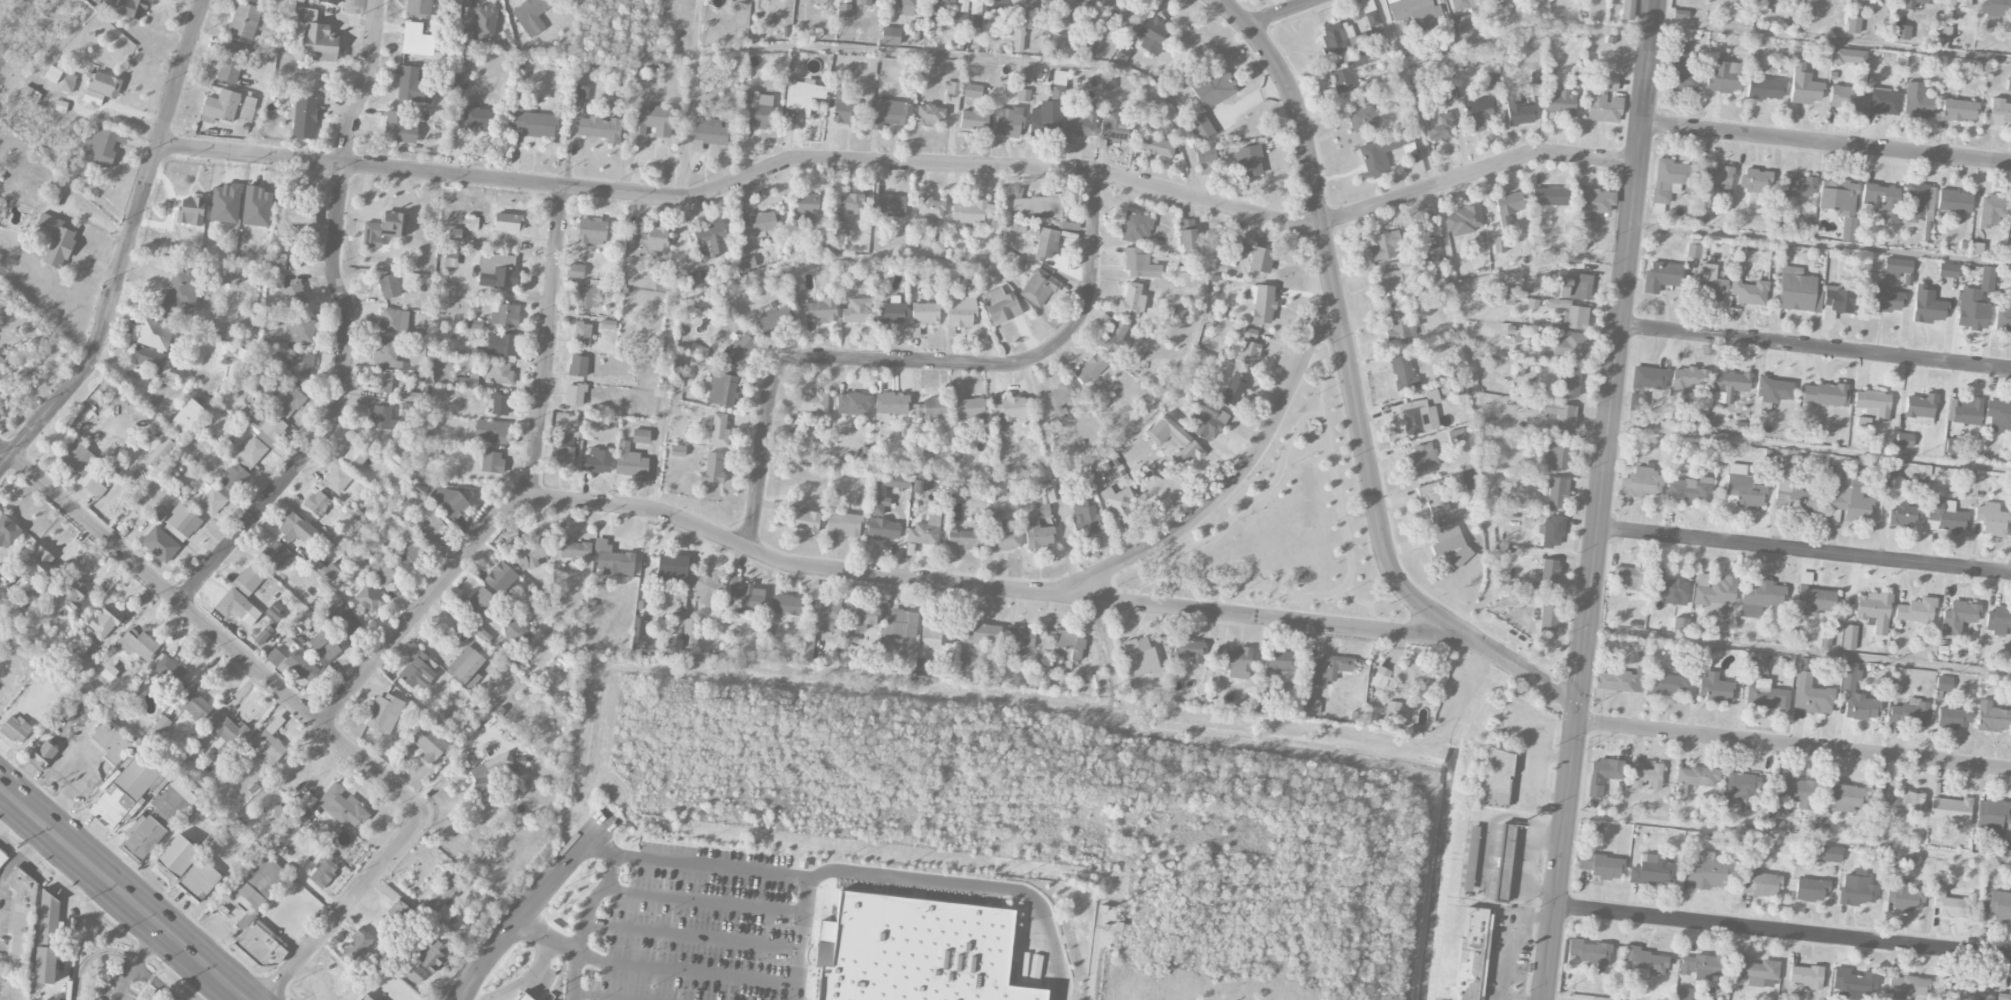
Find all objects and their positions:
building: (1782, 0)
building: (1864, 0)
building: (272, 1)
building: (331, 1)
building: (451, 1)
building: (866, 2)
building: (995, 3)
building: (1957, 3)
building: (912, 5)
building: (1037, 5)
building: (1457, 5)
building: (1080, 6)
building: (1908, 6)
building: (126, 8)
building: (418, 8)
building: (936, 8)
building: (1995, 8)
building: (845, 10)
building: (1415, 10)
building: (1628, 10)
building: (296, 11)
road: (1283, 13)
building: (976, 14)
building: (1119, 15)
building: (530, 16)
building: (244, 20)
building: (484, 22)
building: (1853, 25)
building: (1941, 28)
building: (1464, 29)
road: (1520, 30)
building: (1901, 32)
building: (1152, 34)
building: (890, 36)
building: (1017, 38)
building: (1339, 38)
building: (416, 40)
building: (1056, 40)
road: (1828, 40)
building: (319, 43)
building: (1093, 43)
building: (1849, 56)
building: (1364, 57)
building: (230, 60)
building: (647, 63)
building: (1683, 66)
building: (53, 74)
building: (1343, 77)
building: (1725, 77)
building: (1536, 78)
building: (1577, 79)
building: (460, 82)
building: (1492, 82)
building: (68, 83)
building: (1803, 84)
building: (2009, 84)
building: (412, 86)
building: (101, 87)
building: (1213, 87)
building: (953, 88)
building: (1765, 88)
building: (971, 90)
building: (581, 92)
building: (1447, 93)
building: (1023, 95)
building: (803, 96)
building: (1845, 97)
building: (1604, 102)
building: (1883, 102)
building: (1918, 102)
building: (1560, 103)
building: (220, 107)
building: (757, 108)
building: (247, 109)
building: (1958, 110)
building: (843, 111)
building: (1048, 112)
building: (1519, 112)
building: (889, 113)
building: (1997, 113)
building: (929, 114)
building: (1478, 114)
building: (1361, 116)
building: (304, 117)
building: (476, 118)
building: (974, 119)
building: (652, 120)
building: (1007, 122)
building: (1082, 123)
building: (535, 124)
building: (1439, 127)
building: (399, 128)
building: (600, 128)
building: (1115, 128)
building: (1201, 128)
building: (711, 132)
road: (1823, 143)
building: (100, 146)
building: (1155, 146)
building: (1384, 152)
building: (1207, 154)
building: (1249, 160)
road: (899, 163)
building: (1717, 177)
building: (1668, 178)
building: (1756, 180)
building: (1797, 186)
building: (57, 192)
building: (1548, 196)
building: (1838, 196)
building: (1917, 196)
building: (1883, 201)
building: (1955, 201)
building: (850, 203)
building: (1591, 203)
building: (889, 205)
building: (1036, 206)
building: (1508, 206)
building: (806, 207)
building: (930, 208)
building: (967, 209)
building: (1703, 210)
building: (191, 211)
building: (1991, 211)
building: (291, 217)
building: (1779, 217)
building: (763, 221)
building: (1463, 221)
building: (507, 222)
building: (471, 223)
road: (1198, 225)
building: (840, 227)
building: (1135, 227)
building: (384, 229)
building: (591, 231)
building: (1927, 232)
building: (1413, 233)
building: (455, 234)
building: (1186, 236)
building: (55, 239)
building: (649, 241)
building: (711, 241)
road: (1817, 243)
building: (1046, 244)
building: (1499, 244)
building: (940, 245)
building: (1384, 246)
building: (2009, 246)
road: (126, 248)
building: (1693, 251)
building: (1254, 256)
road: (872, 258)
building: (747, 263)
building: (1139, 264)
building: (1896, 267)
building: (661, 268)
road: (1535, 269)
building: (1948, 270)
building: (574, 271)
building: (1661, 276)
building: (499, 277)
building: (276, 278)
building: (699, 278)
building: (1396, 278)
road: (676, 282)
building: (1707, 283)
building: (389, 286)
building: (1572, 286)
building: (609, 287)
building: (1039, 287)
building: (1796, 290)
building: (182, 291)
building: (1749, 292)
building: (587, 296)
building: (1884, 300)
building: (1131, 301)
building: (1837, 302)
building: (1262, 303)
building: (1533, 303)
building: (1559, 304)
building: (1000, 306)
building: (822, 309)
building: (1929, 309)
building: (1971, 309)
building: (893, 310)
building: (856, 311)
building: (960, 312)
building: (925, 313)
building: (504, 314)
building: (1179, 315)
road: (1460, 316)
building: (2003, 316)
building: (1577, 317)
building: (394, 321)
building: (775, 321)
building: (474, 324)
building: (608, 324)
road: (348, 325)
building: (1400, 326)
building: (300, 329)
building: (582, 333)
building: (154, 334)
building: (418, 335)
building: (1114, 335)
road: (545, 342)
building: (501, 344)
building: (1570, 345)
building: (1247, 347)
road: (1811, 347)
building: (739, 352)
building: (385, 353)
building: (418, 353)
road: (1608, 353)
building: (147, 358)
road: (921, 361)
building: (2, 363)
building: (302, 365)
building: (578, 366)
road: (1333, 366)
building: (1090, 369)
building: (499, 372)
building: (1404, 373)
building: (168, 378)
building: (1649, 378)
building: (1690, 378)
building: (414, 381)
building: (1570, 381)
building: (383, 382)
building: (468, 382)
road: (1322, 382)
building: (1730, 384)
road: (1351, 386)
building: (1235, 387)
building: (719, 389)
building: (1773, 389)
building: (575, 394)
building: (1826, 394)
building: (1438, 395)
building: (1060, 399)
building: (291, 400)
building: (811, 402)
building: (1636, 402)
building: (853, 403)
building: (891, 403)
building: (1873, 403)
building: (500, 404)
building: (931, 408)
building: (1009, 408)
building: (1920, 408)
building: (969, 410)
building: (1965, 412)
building: (1998, 413)
building: (1562, 416)
building: (185, 417)
building: (1415, 417)
building: (382, 418)
building: (1206, 419)
building: (1697, 419)
building: (270, 428)
building: (577, 429)
building: (719, 430)
building: (490, 431)
road: (1294, 433)
building: (641, 436)
building: (1456, 436)
road: (1310, 439)
building: (1175, 440)
building: (1903, 440)
building: (1952, 446)
road: (1806, 447)
building: (562, 450)
building: (678, 450)
building: (160, 451)
building: (251, 453)
building: (357, 455)
building: (1557, 455)
building: (1423, 459)
building: (597, 461)
building: (492, 462)
building: (630, 462)
building: (1786, 463)
building: (83, 466)
building: (713, 468)
road: (1054, 471)
building: (233, 477)
building: (337, 478)
road: (1235, 478)
building: (1470, 478)
building: (892, 481)
building: (1641, 482)
building: (1894, 482)
building: (1689, 489)
building: (1743, 489)
building: (1557, 493)
building: (1438, 495)
building: (1848, 496)
building: (863, 497)
building: (1794, 498)
building: (208, 499)
building: (877, 500)
building: (449, 503)
building: (1043, 505)
building: (1117, 505)
building: (322, 507)
building: (1902, 514)
building: (1083, 517)
building: (1946, 517)
building: (804, 518)
building: (1991, 519)
building: (182, 522)
building: (844, 524)
park: (1285, 524)
building: (296, 528)
building: (883, 529)
building: (432, 530)
building: (7, 531)
building: (924, 531)
building: (1552, 532)
building: (1002, 535)
building: (1038, 535)
building: (967, 538)
building: (160, 544)
building: (1450, 544)
building: (575, 549)
building: (411, 552)
building: (527, 552)
building: (950, 552)
road: (1800, 552)
building: (275, 554)
building: (612, 559)
building: (37, 564)
building: (672, 567)
building: (324, 569)
road: (1138, 569)
road: (830, 571)
building: (1549, 573)
building: (384, 574)
building: (1629, 576)
building: (501, 578)
building: (248, 579)
road: (1263, 588)
building: (1669, 588)
building: (707, 590)
building: (1714, 593)
building: (1507, 596)
building: (1759, 596)
building: (73, 597)
building: (744, 597)
building: (369, 599)
road: (1387, 599)
building: (31, 600)
building: (1815, 600)
building: (481, 602)
building: (785, 606)
building: (1872, 606)
building: (237, 607)
building: (275, 610)
building: (1916, 611)
building: (826, 613)
building: (1548, 613)
building: (864, 616)
building: (1958, 617)
building: (1998, 620)
building: (344, 621)
building: (102, 624)
building: (900, 624)
building: (1680, 624)
building: (690, 631)
building: (516, 632)
building: (639, 632)
building: (936, 634)
building: (263, 635)
building: (982, 635)
building: (1020, 636)
building: (1849, 637)
building: (1825, 640)
building: (138, 644)
building: (674, 644)
building: (1061, 644)
building: (324, 647)
building: (808, 648)
building: (1188, 650)
road: (1795, 650)
building: (1141, 656)
building: (84, 660)
building: (1755, 660)
building: (293, 663)
building: (1237, 663)
building: (1278, 663)
building: (465, 664)
building: (2010, 666)
building: (418, 667)
building: (1327, 669)
building: (169, 670)
building: (1409, 675)
building: (1377, 680)
building: (1620, 680)
building: (1943, 684)
building: (1667, 685)
building: (1714, 688)
building: (2010, 694)
building: (1810, 695)
building: (1765, 696)
building: (1857, 696)
building: (195, 704)
building: (1310, 707)
traffic signals: (1570, 708)
building: (1393, 709)
road: (305, 710)
building: (1909, 713)
building: (384, 714)
building: (1370, 714)
building: (1991, 717)
building: (1953, 718)
building: (161, 725)
building: (15, 729)
building: (226, 735)
building: (112, 742)
building: (430, 742)
building: (269, 743)
road: (1788, 744)
building: (194, 751)
building: (42, 754)
building: (487, 774)
building: (1603, 774)
building: (1647, 775)
building: (1697, 776)
building: (1497, 778)
building: (126, 788)
building: (1739, 789)
building: (1792, 793)
building: (1845, 798)
building: (1899, 803)
building: (342, 806)
building: (1951, 810)
building: (1995, 822)
building: (146, 836)
road: (1784, 836)
road: (605, 847)
road: (1553, 853)
building: (1830, 854)
building: (1705, 855)
building: (2, 856)
building: (177, 856)
building: (1469, 858)
building: (1503, 861)
building: (1601, 865)
road: (722, 867)
building: (323, 868)
building: (1652, 870)
building: (1705, 873)
building: (199, 879)
building: (1758, 884)
building: (255, 886)
road: (973, 886)
building: (1856, 889)
building: (1811, 890)
road: (122, 893)
building: (443, 896)
building: (1905, 897)
road: (702, 898)
building: (1952, 903)
building: (1998, 906)
road: (530, 907)
building: (1102, 908)
building: (398, 911)
building: (22, 917)
road: (1779, 930)
road: (692, 933)
building: (261, 944)
building: (357, 945)
road: (569, 947)
road: (116, 950)
building: (919, 951)
building: (1589, 952)
building: (1472, 954)
building: (432, 956)
road: (545, 959)
road: (136, 961)
building: (1644, 962)
building: (45, 965)
building: (1697, 967)
road: (686, 970)
building: (413, 972)
building: (1757, 972)
building: (1806, 977)
building: (1853, 984)
building: (1907, 986)
road: (506, 989)
building: (1968, 993)
building: (1683, 994)
building: (522, 996)
building: (2004, 996)
road: (595, 997)
building: (364, 998)
road: (1555, 998)

